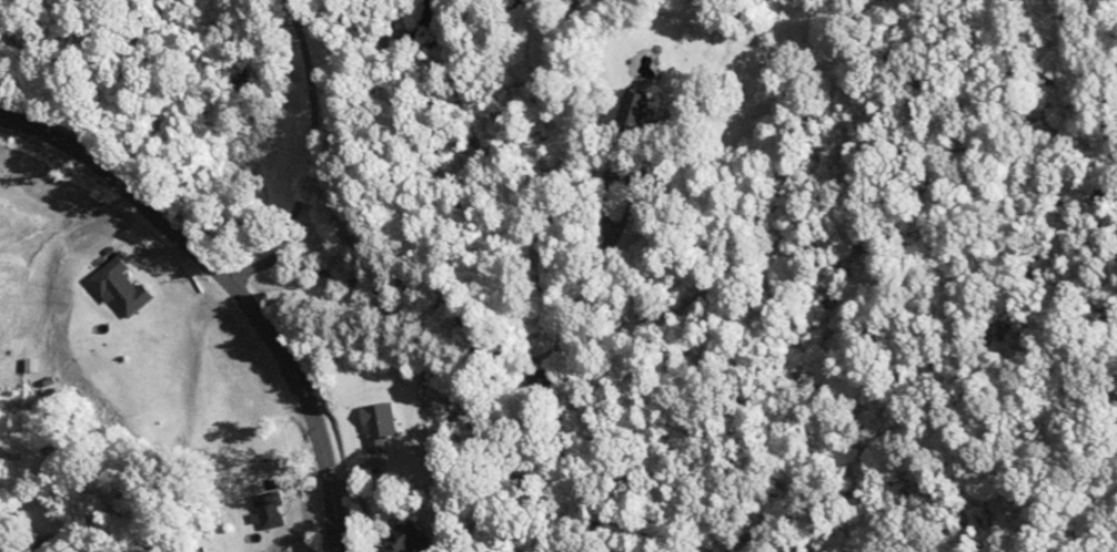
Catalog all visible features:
building: (634, 110)
road: (212, 284)
building: (117, 287)
building: (376, 436)

